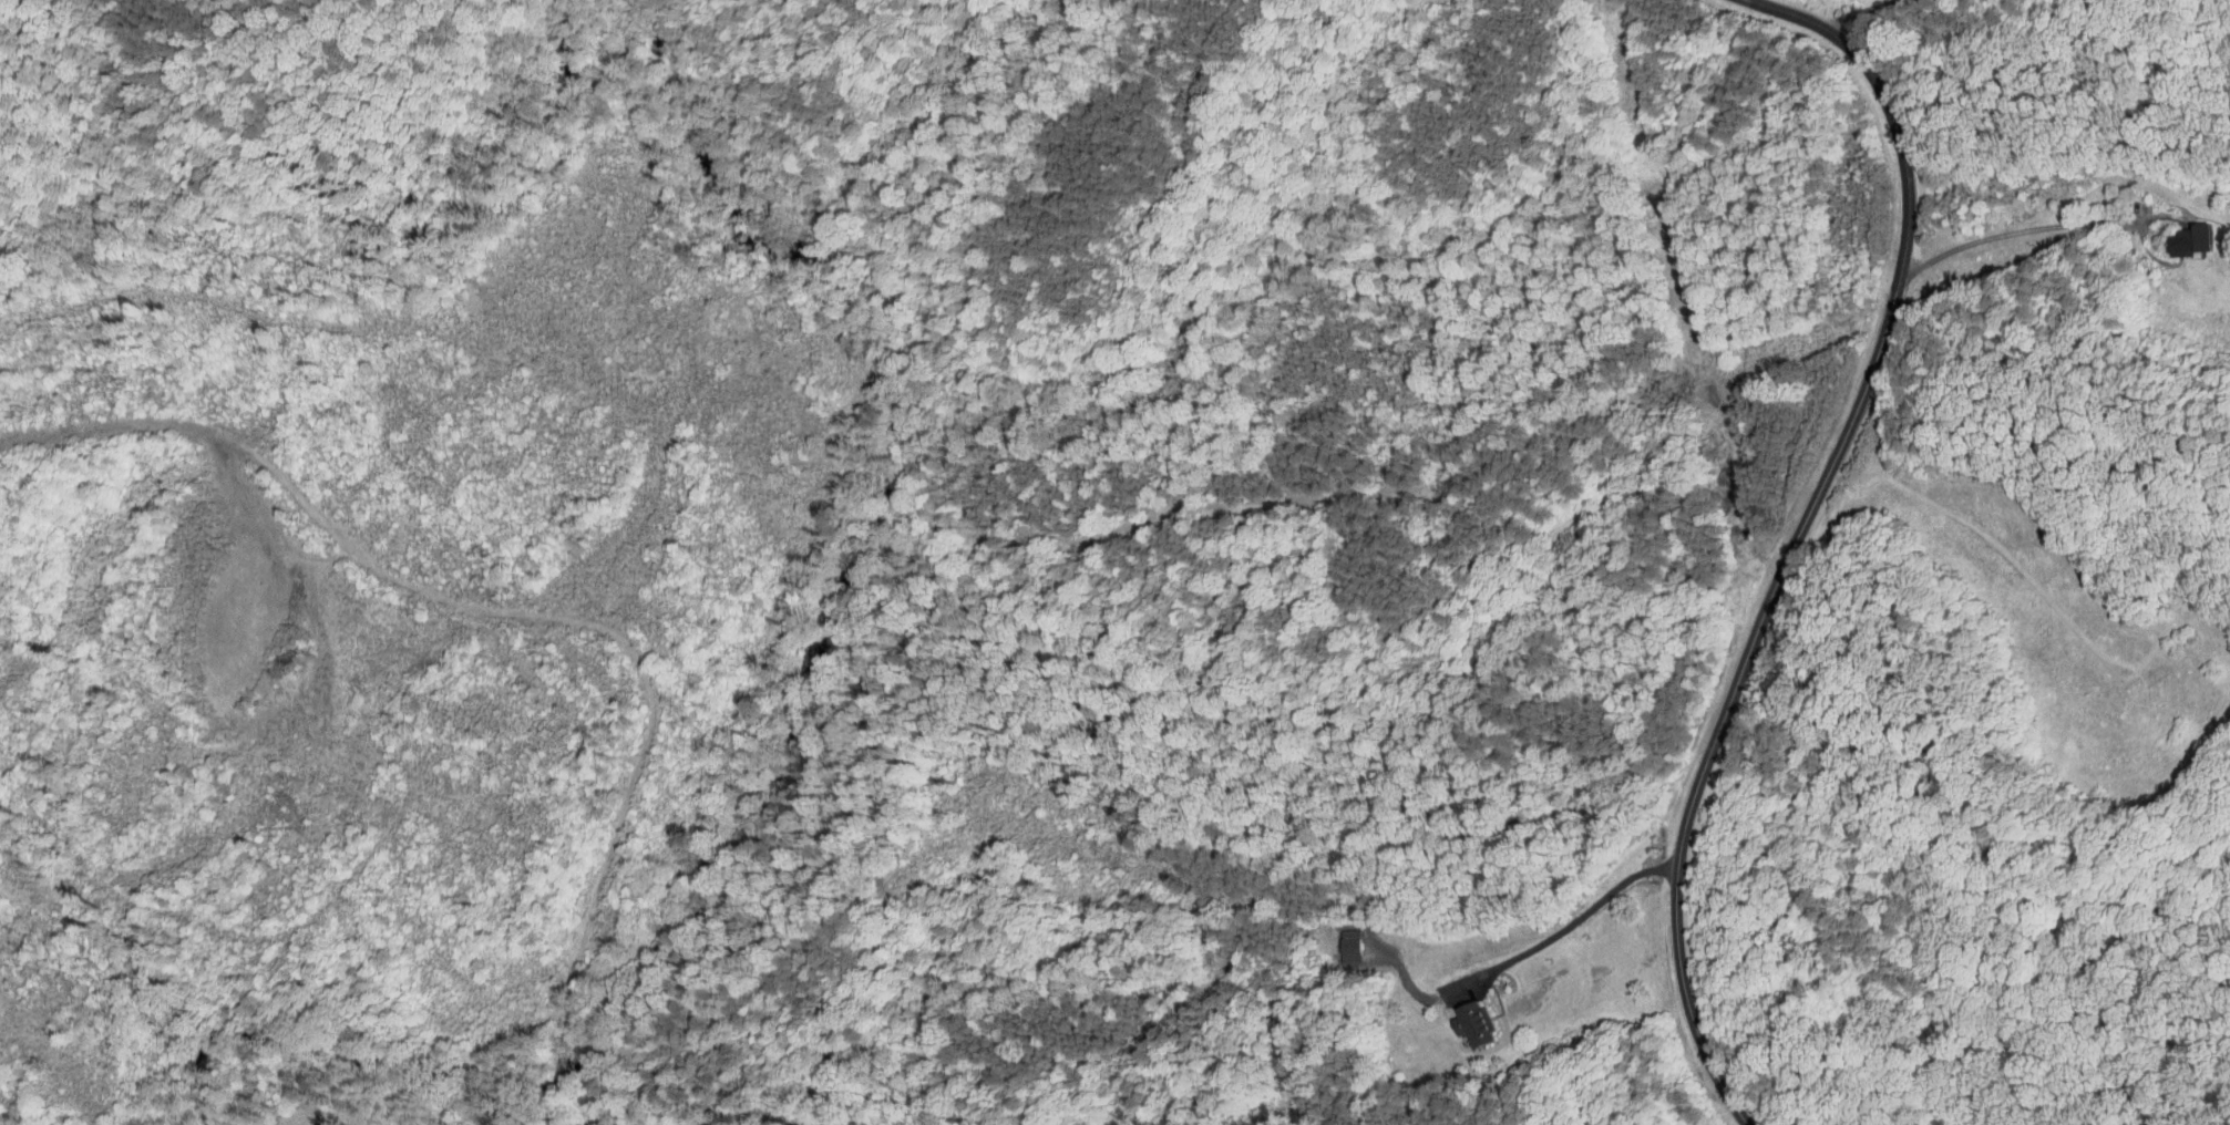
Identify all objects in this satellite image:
road: (1861, 10)
road: (235, 24)
park: (187, 31)
road: (343, 49)
building: (2179, 233)
road: (2013, 234)
building: (2192, 239)
road: (875, 322)
road: (1799, 530)
road: (483, 612)
road: (1561, 930)
building: (1462, 1016)
building: (1477, 1024)
road: (566, 1035)
road: (566, 1072)
road: (327, 1084)
road: (571, 1108)
road: (502, 1114)

